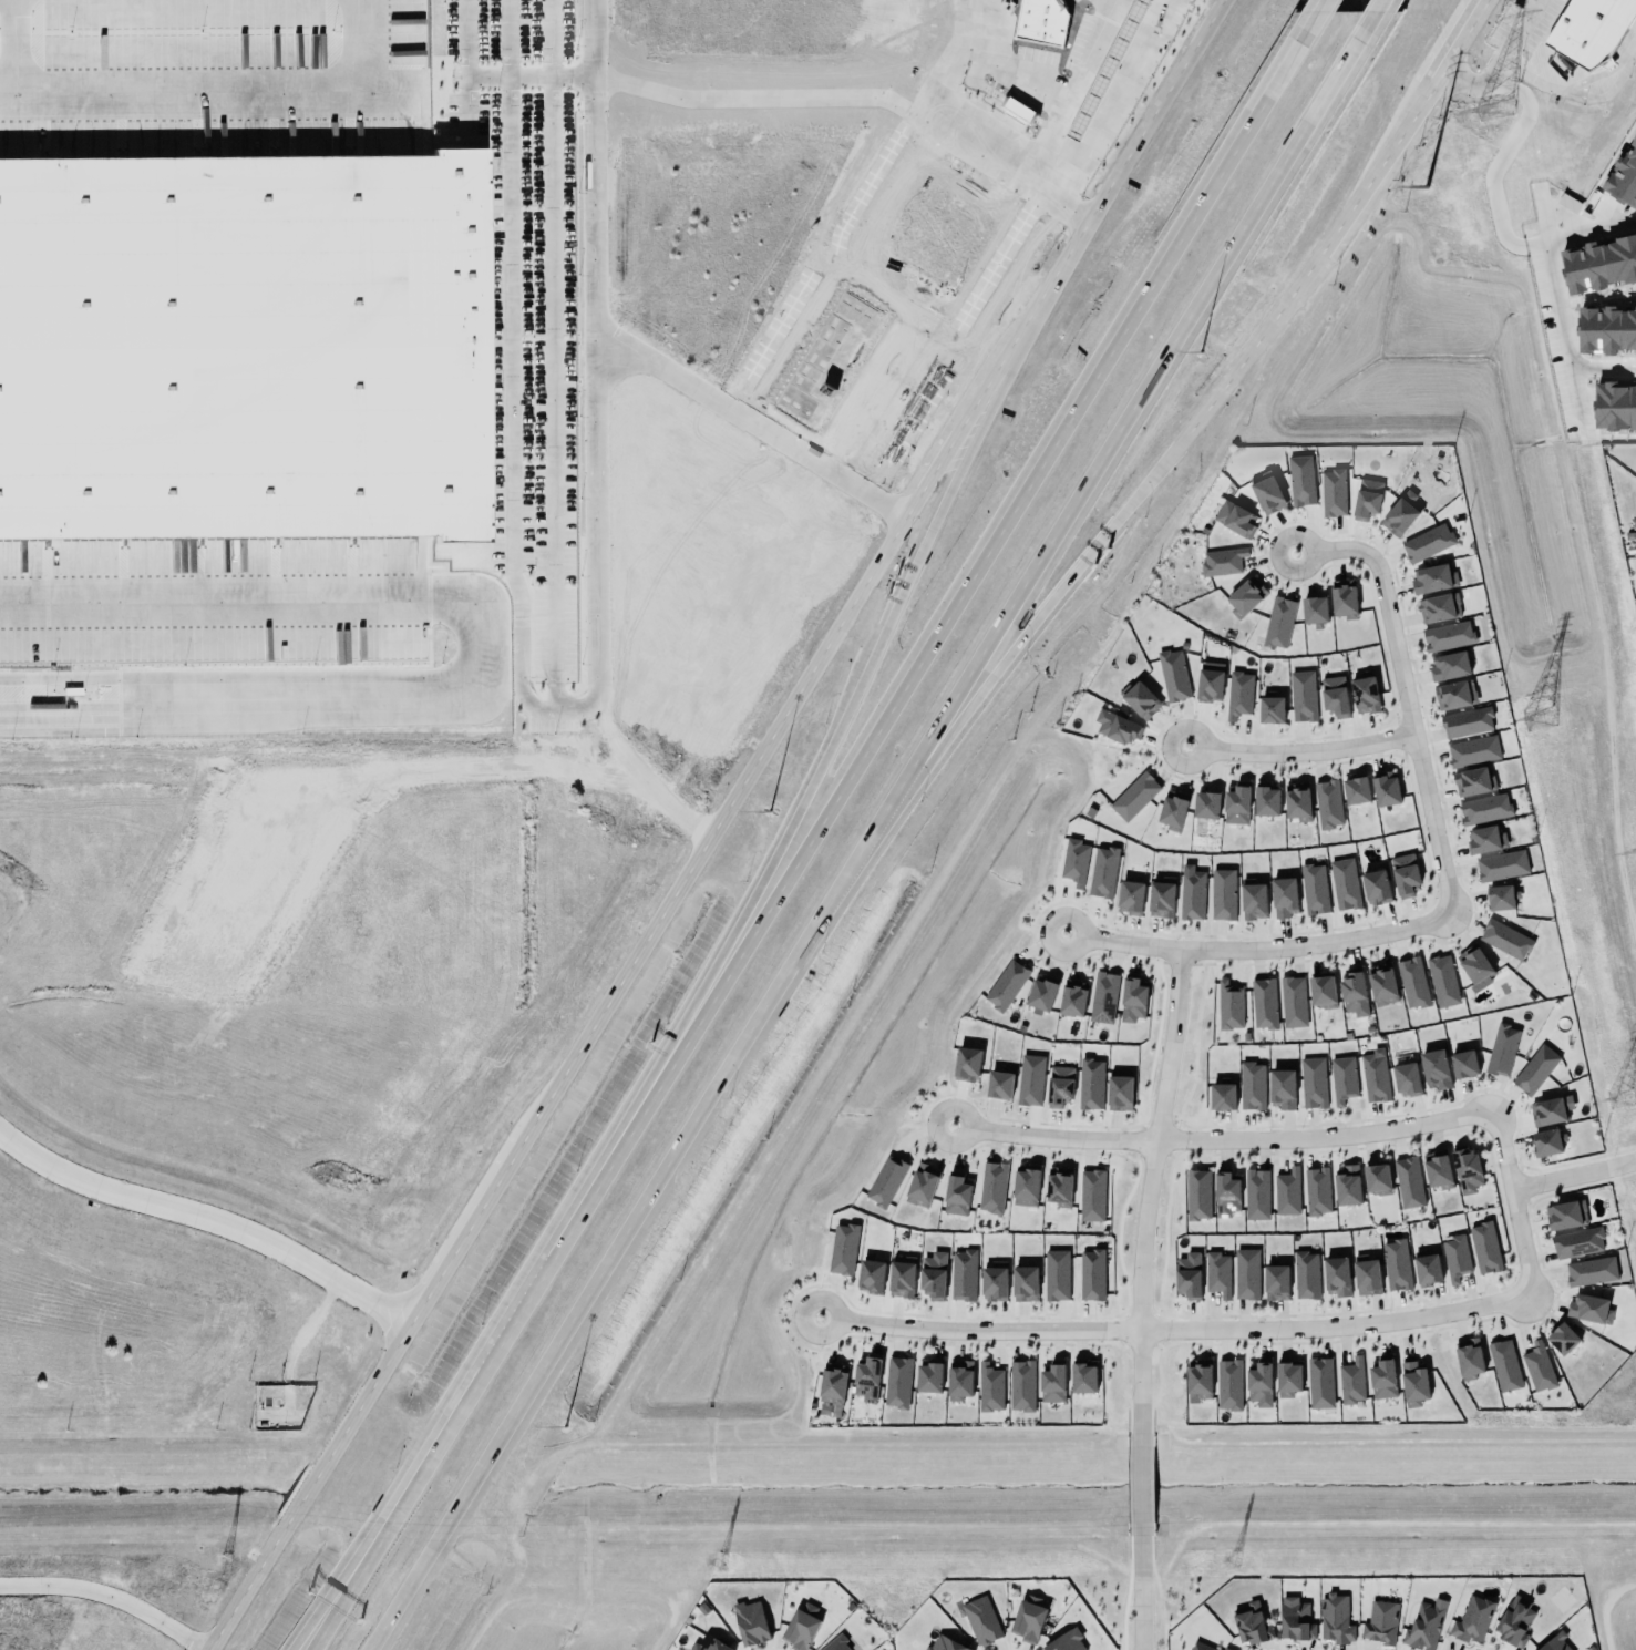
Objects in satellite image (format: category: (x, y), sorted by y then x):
road: (1324, 6)
road: (1378, 6)
road: (1475, 6)
road: (1478, 6)
building: (1592, 31)
road: (1455, 42)
road: (20, 47)
road: (1492, 61)
road: (204, 91)
road: (1575, 92)
road: (1074, 93)
road: (770, 95)
road: (942, 110)
power tower: (1492, 110)
road: (1407, 122)
road: (1138, 137)
road: (1495, 165)
building: (1624, 180)
power tower: (1418, 183)
road: (1059, 203)
road: (1346, 212)
building: (1598, 265)
road: (1555, 291)
road: (609, 340)
road: (1248, 340)
building: (241, 347)
building: (1615, 406)
road: (1129, 419)
building: (1300, 479)
building: (1333, 491)
building: (1267, 493)
building: (1366, 498)
building: (1398, 514)
building: (1235, 519)
building: (1427, 541)
building: (1222, 562)
road: (560, 565)
building: (1431, 577)
building: (1244, 595)
building: (1342, 599)
building: (1314, 608)
building: (1439, 608)
building: (1278, 621)
road: (1032, 627)
road: (934, 634)
building: (1447, 634)
road: (488, 640)
building: (1449, 666)
building: (1173, 676)
building: (1207, 680)
building: (1364, 694)
building: (1453, 694)
building: (1239, 695)
building: (1301, 695)
building: (1334, 695)
building: (1139, 698)
road: (1405, 698)
building: (1269, 708)
power tower: (1537, 717)
building: (1467, 722)
building: (1115, 725)
building: (1472, 750)
road: (1299, 752)
road: (819, 775)
building: (1473, 782)
building: (1355, 789)
building: (1385, 789)
building: (1134, 797)
building: (1264, 799)
building: (1296, 800)
building: (1326, 802)
building: (1235, 803)
building: (1206, 806)
building: (1483, 807)
building: (1173, 812)
building: (1483, 838)
building: (1073, 860)
building: (1500, 864)
building: (1102, 871)
building: (1405, 874)
building: (1344, 882)
building: (1375, 885)
building: (1313, 888)
building: (1192, 893)
building: (1221, 893)
building: (1129, 895)
building: (1500, 895)
building: (1161, 898)
building: (1284, 898)
building: (1253, 900)
building: (1505, 940)
road: (1258, 949)
road: (630, 962)
building: (1472, 964)
building: (1441, 980)
building: (1412, 982)
building: (1005, 983)
building: (1381, 984)
building: (1320, 991)
building: (1040, 993)
building: (1352, 993)
building: (1072, 996)
building: (1102, 996)
building: (1133, 1001)
building: (1293, 1002)
building: (1263, 1003)
building: (1228, 1005)
building: (1502, 1051)
building: (966, 1062)
building: (1463, 1063)
building: (1434, 1068)
building: (1534, 1068)
building: (1372, 1077)
building: (1029, 1078)
building: (1341, 1078)
building: (1406, 1078)
building: (1311, 1082)
building: (999, 1083)
building: (1090, 1083)
building: (1059, 1085)
building: (1251, 1085)
building: (1280, 1088)
building: (1119, 1092)
building: (1223, 1097)
power tower: (1619, 1099)
building: (1551, 1110)
road: (1223, 1140)
building: (1548, 1142)
building: (1437, 1170)
building: (1467, 1170)
road: (1573, 1175)
building: (1376, 1178)
building: (885, 1180)
building: (1407, 1181)
building: (920, 1183)
building: (1058, 1185)
building: (1346, 1185)
building: (991, 1186)
building: (1025, 1186)
building: (1285, 1191)
building: (1317, 1191)
building: (1255, 1193)
building: (955, 1195)
building: (1197, 1195)
building: (1226, 1195)
building: (1092, 1196)
road: (1513, 1201)
building: (1565, 1216)
road: (208, 1217)
road: (627, 1238)
building: (1577, 1243)
building: (1484, 1246)
building: (843, 1249)
building: (1454, 1257)
building: (1395, 1264)
building: (1426, 1269)
building: (1589, 1270)
building: (1245, 1272)
building: (933, 1273)
building: (961, 1273)
building: (1054, 1273)
building: (1091, 1273)
building: (1216, 1273)
building: (1335, 1274)
building: (870, 1275)
building: (1306, 1275)
building: (1366, 1275)
building: (1189, 1277)
building: (901, 1278)
building: (1274, 1281)
building: (992, 1282)
building: (1023, 1282)
road: (1136, 1299)
building: (1588, 1308)
road: (1175, 1331)
building: (1561, 1338)
building: (1469, 1357)
building: (1503, 1364)
building: (1539, 1367)
building: (929, 1377)
building: (1082, 1377)
building: (1288, 1377)
building: (1197, 1379)
building: (1381, 1379)
building: (867, 1380)
building: (1350, 1380)
building: (896, 1381)
building: (959, 1381)
road: (475, 1382)
building: (831, 1382)
building: (1318, 1382)
building: (1051, 1383)
building: (1228, 1383)
building: (1412, 1383)
building: (1020, 1385)
building: (1259, 1385)
building: (990, 1387)
power tower: (1234, 1552)
power tower: (718, 1565)
power tower: (203, 1566)
road: (344, 1577)
road: (354, 1577)
road: (109, 1595)
building: (1335, 1618)
building: (1471, 1618)
building: (980, 1620)
building: (1027, 1620)
building: (1295, 1620)
building: (1513, 1620)
building: (750, 1622)
building: (1380, 1622)
building: (1251, 1625)
building: (1423, 1625)
building: (799, 1629)
building: (1064, 1641)
building: (707, 1643)
building: (836, 1643)
building: (943, 1643)
building: (1556, 1643)
building: (1200, 1646)
building: (1225, 1648)

